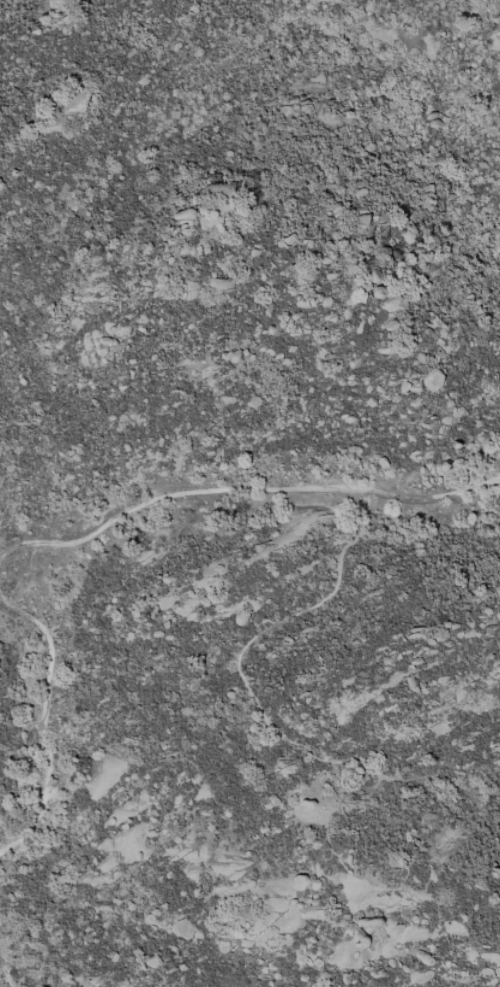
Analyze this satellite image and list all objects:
road: (241, 490)
park: (250, 493)
road: (257, 703)
road: (48, 725)
road: (8, 971)

